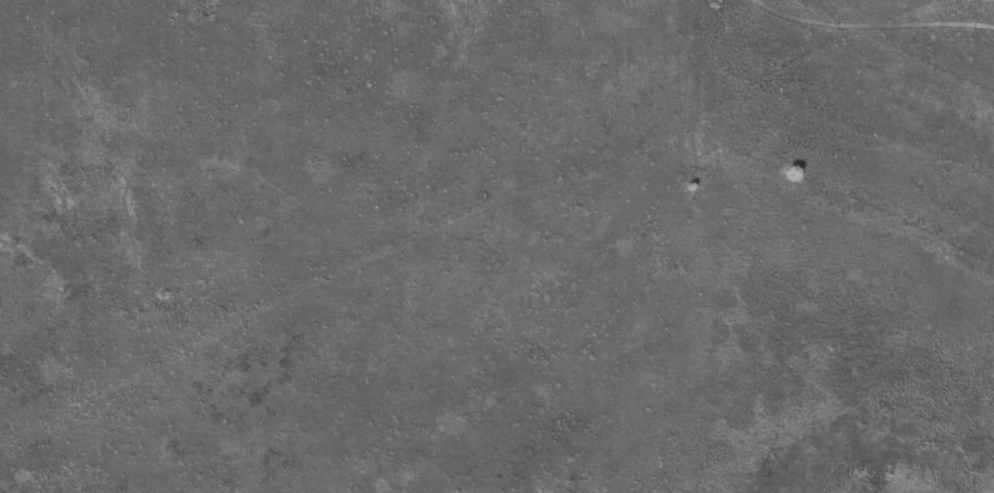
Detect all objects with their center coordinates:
road: (796, 361)

